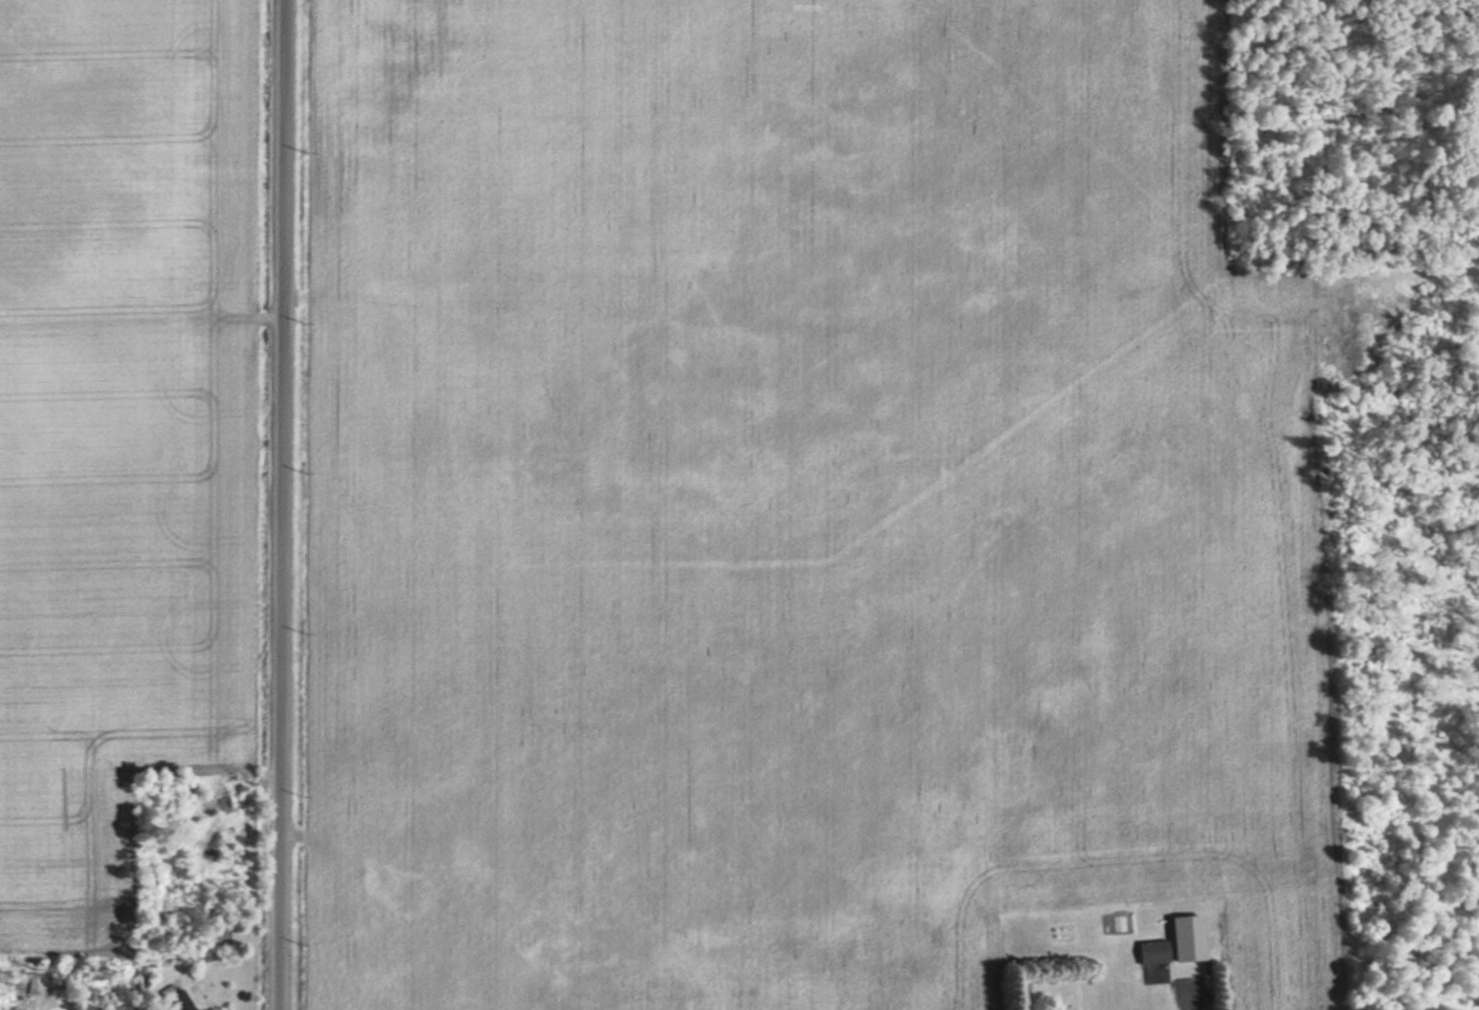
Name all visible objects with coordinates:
road: (279, 505)
building: (1150, 951)
building: (1026, 992)
building: (172, 1000)

